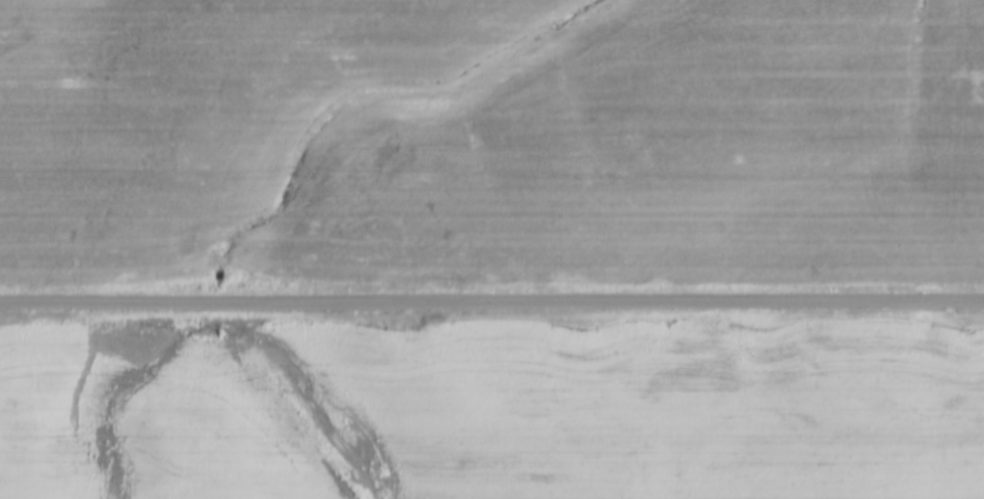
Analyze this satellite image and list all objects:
road: (492, 303)

